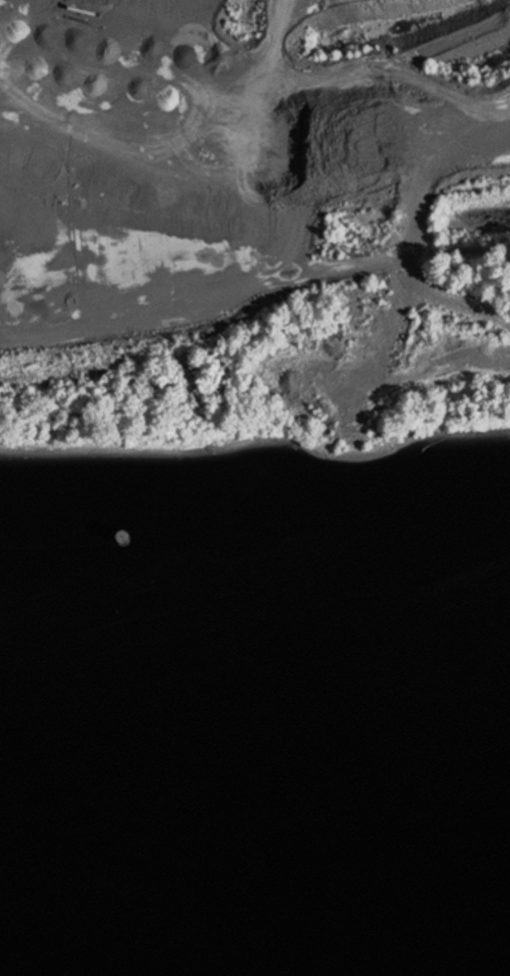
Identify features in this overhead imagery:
quarry: (254, 188)
road: (5, 190)
road: (414, 213)
road: (205, 306)
building: (324, 491)
building: (329, 519)

